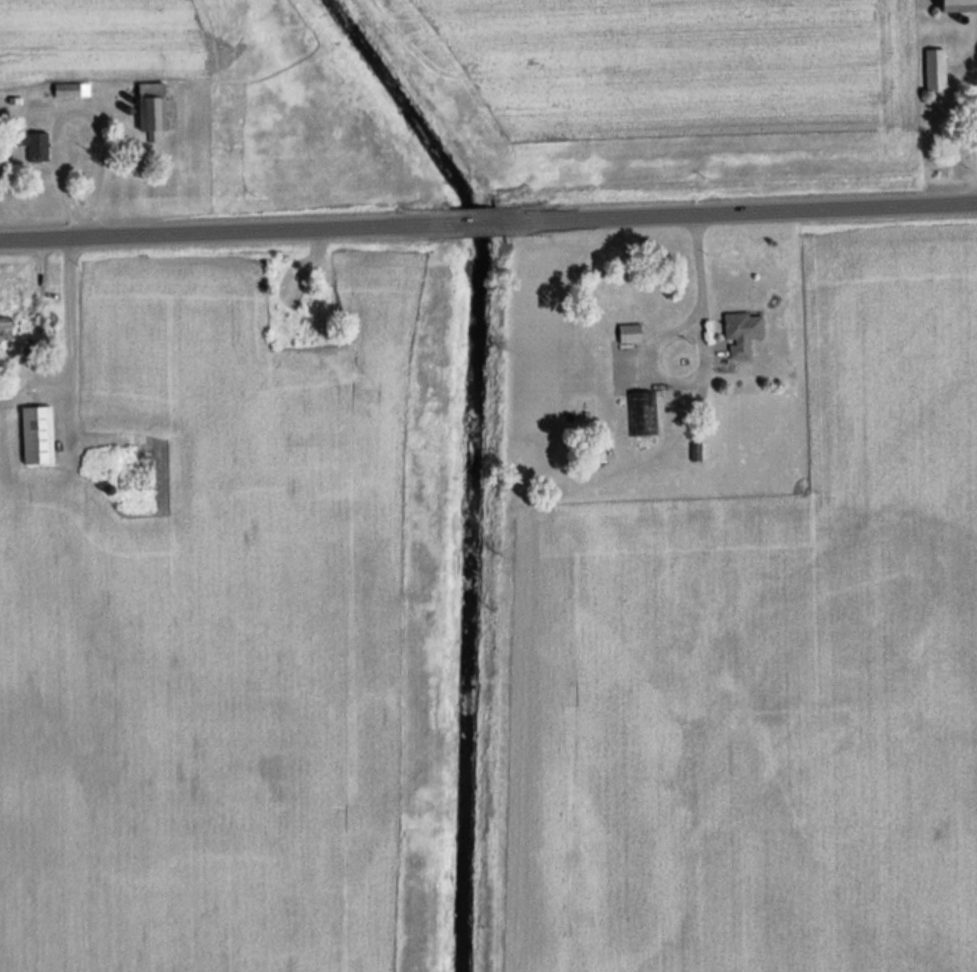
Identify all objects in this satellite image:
building: (957, 5)
building: (935, 69)
building: (151, 108)
building: (33, 144)
road: (739, 212)
road: (478, 223)
road: (228, 232)
building: (4, 327)
building: (741, 333)
building: (629, 335)
building: (643, 413)
building: (36, 434)

